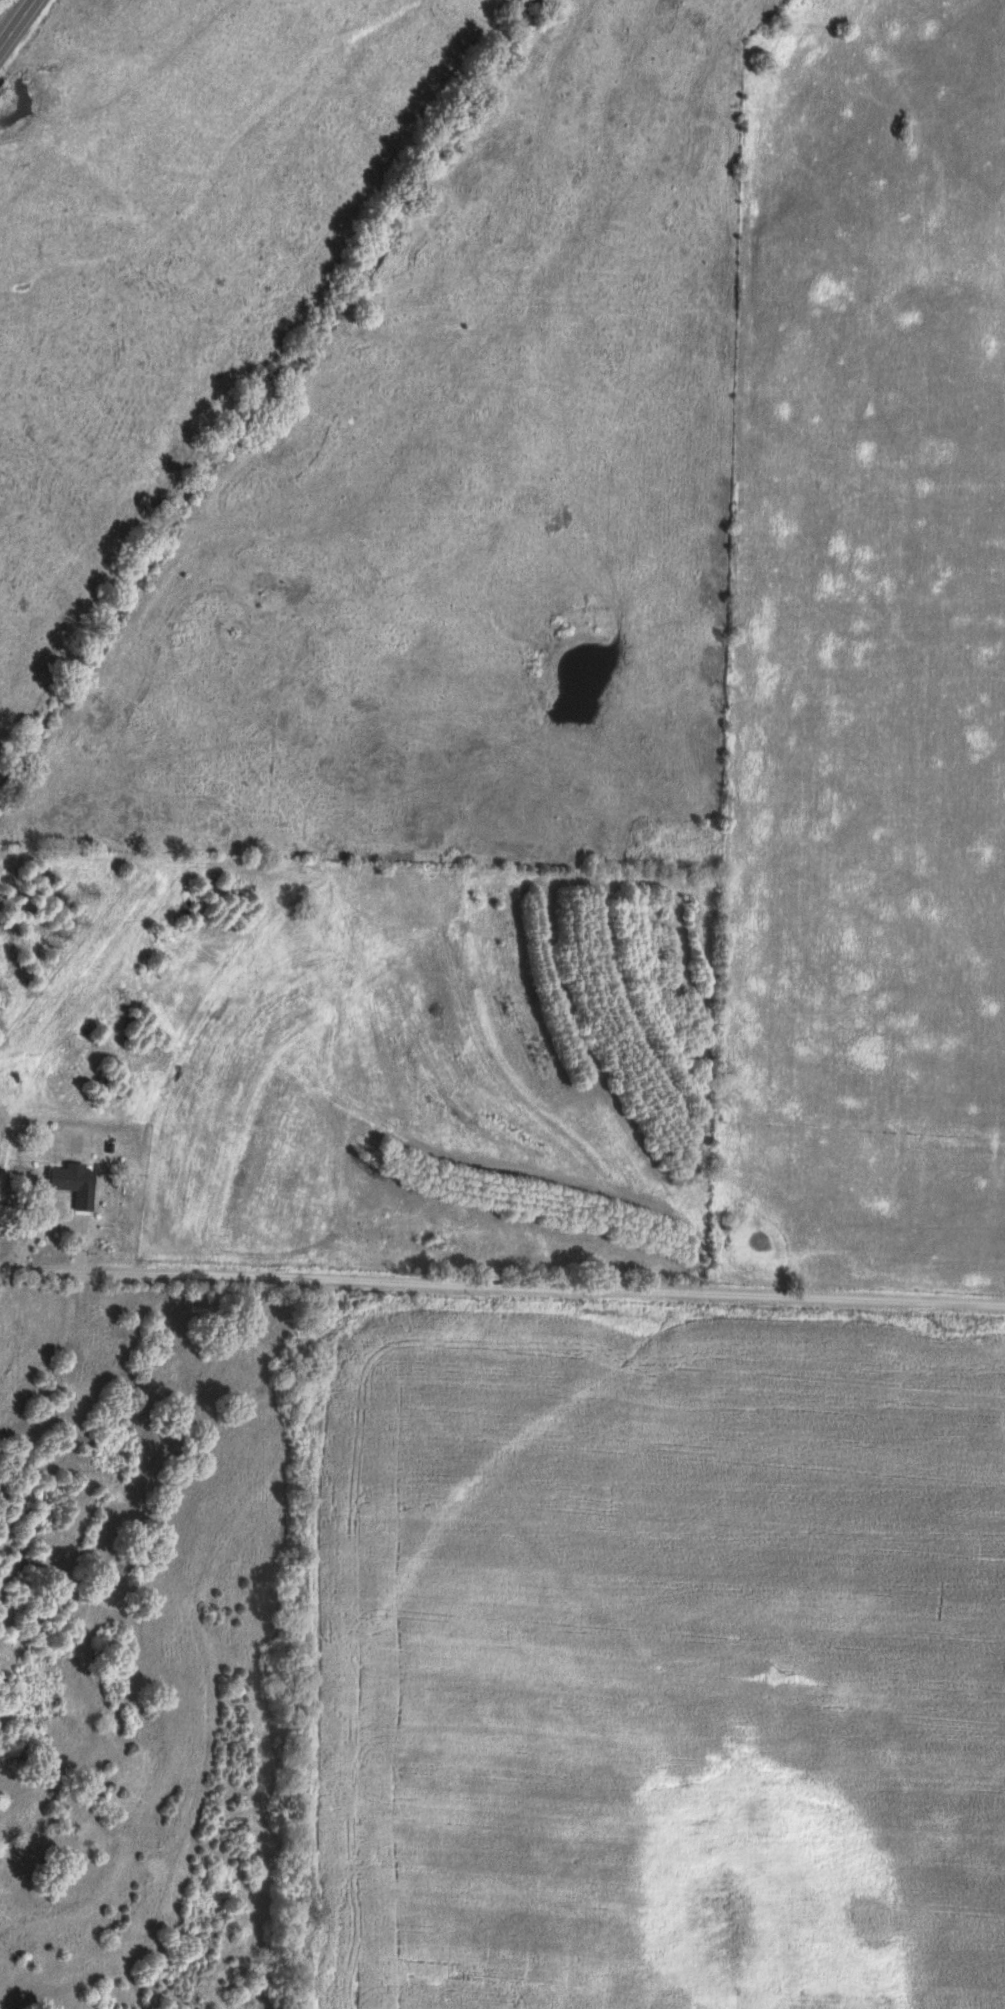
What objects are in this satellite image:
road: (15, 21)
building: (67, 1175)
road: (502, 1283)

